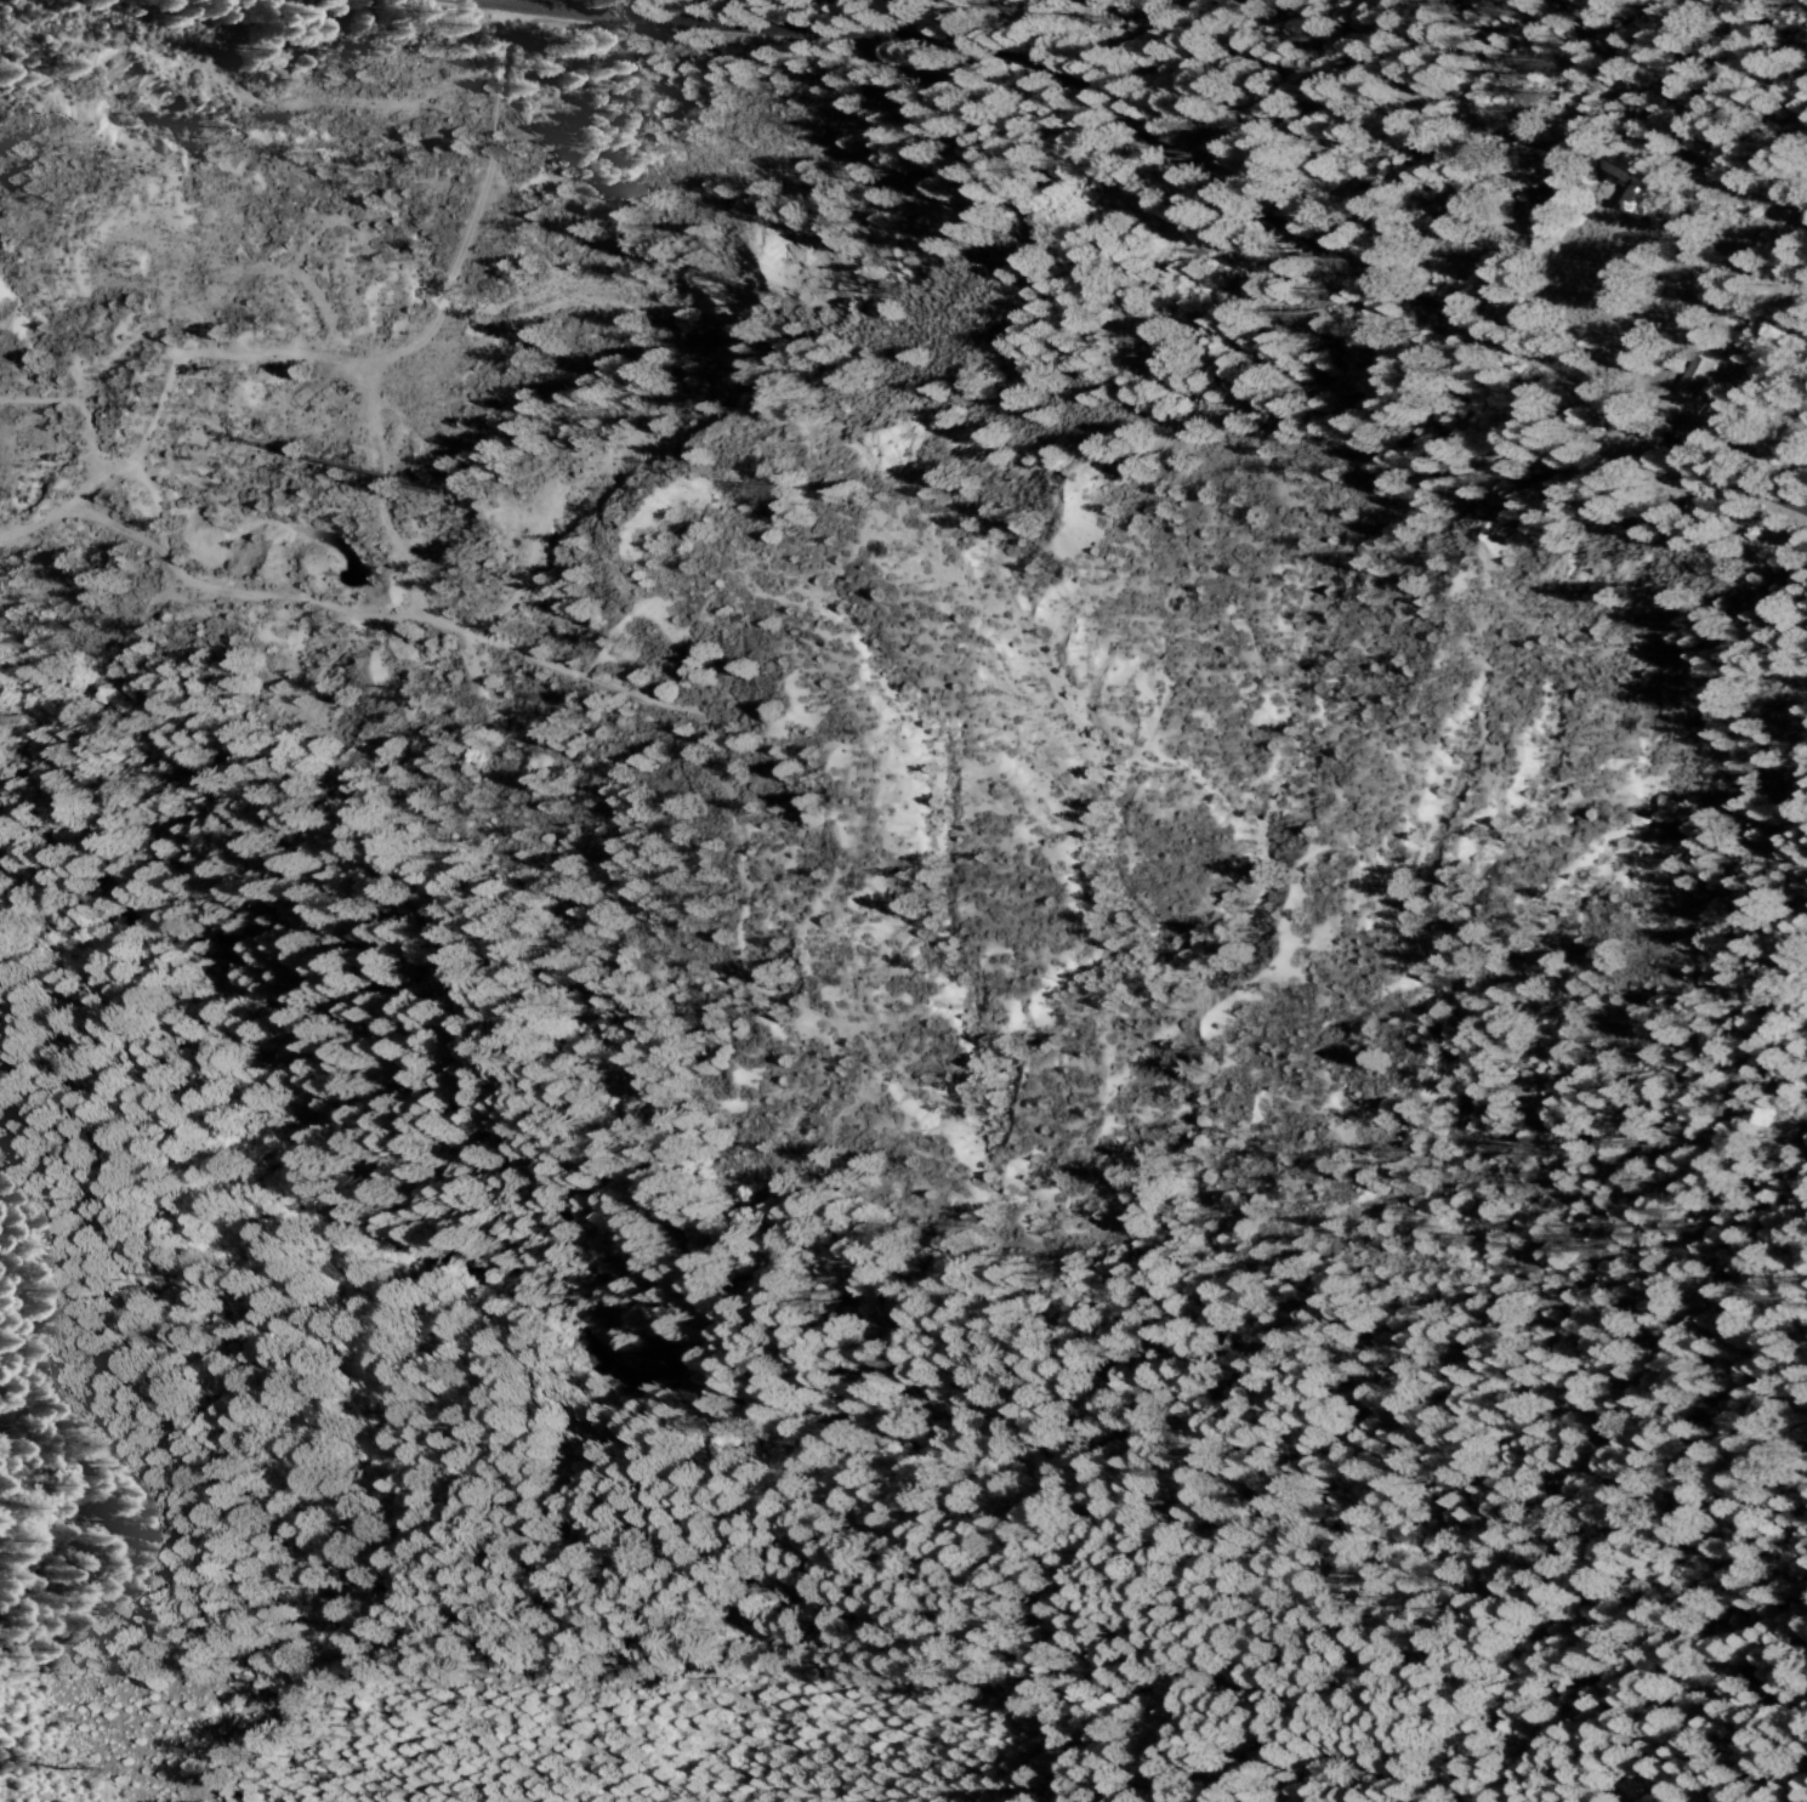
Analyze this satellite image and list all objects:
park: (1329, 83)
road: (1158, 157)
park: (1653, 191)
road: (1707, 221)
park: (1755, 358)
park: (1258, 359)
building: (1692, 376)
park: (1193, 841)
park: (1476, 1108)
park: (438, 1192)
park: (380, 1733)
park: (1420, 1740)

